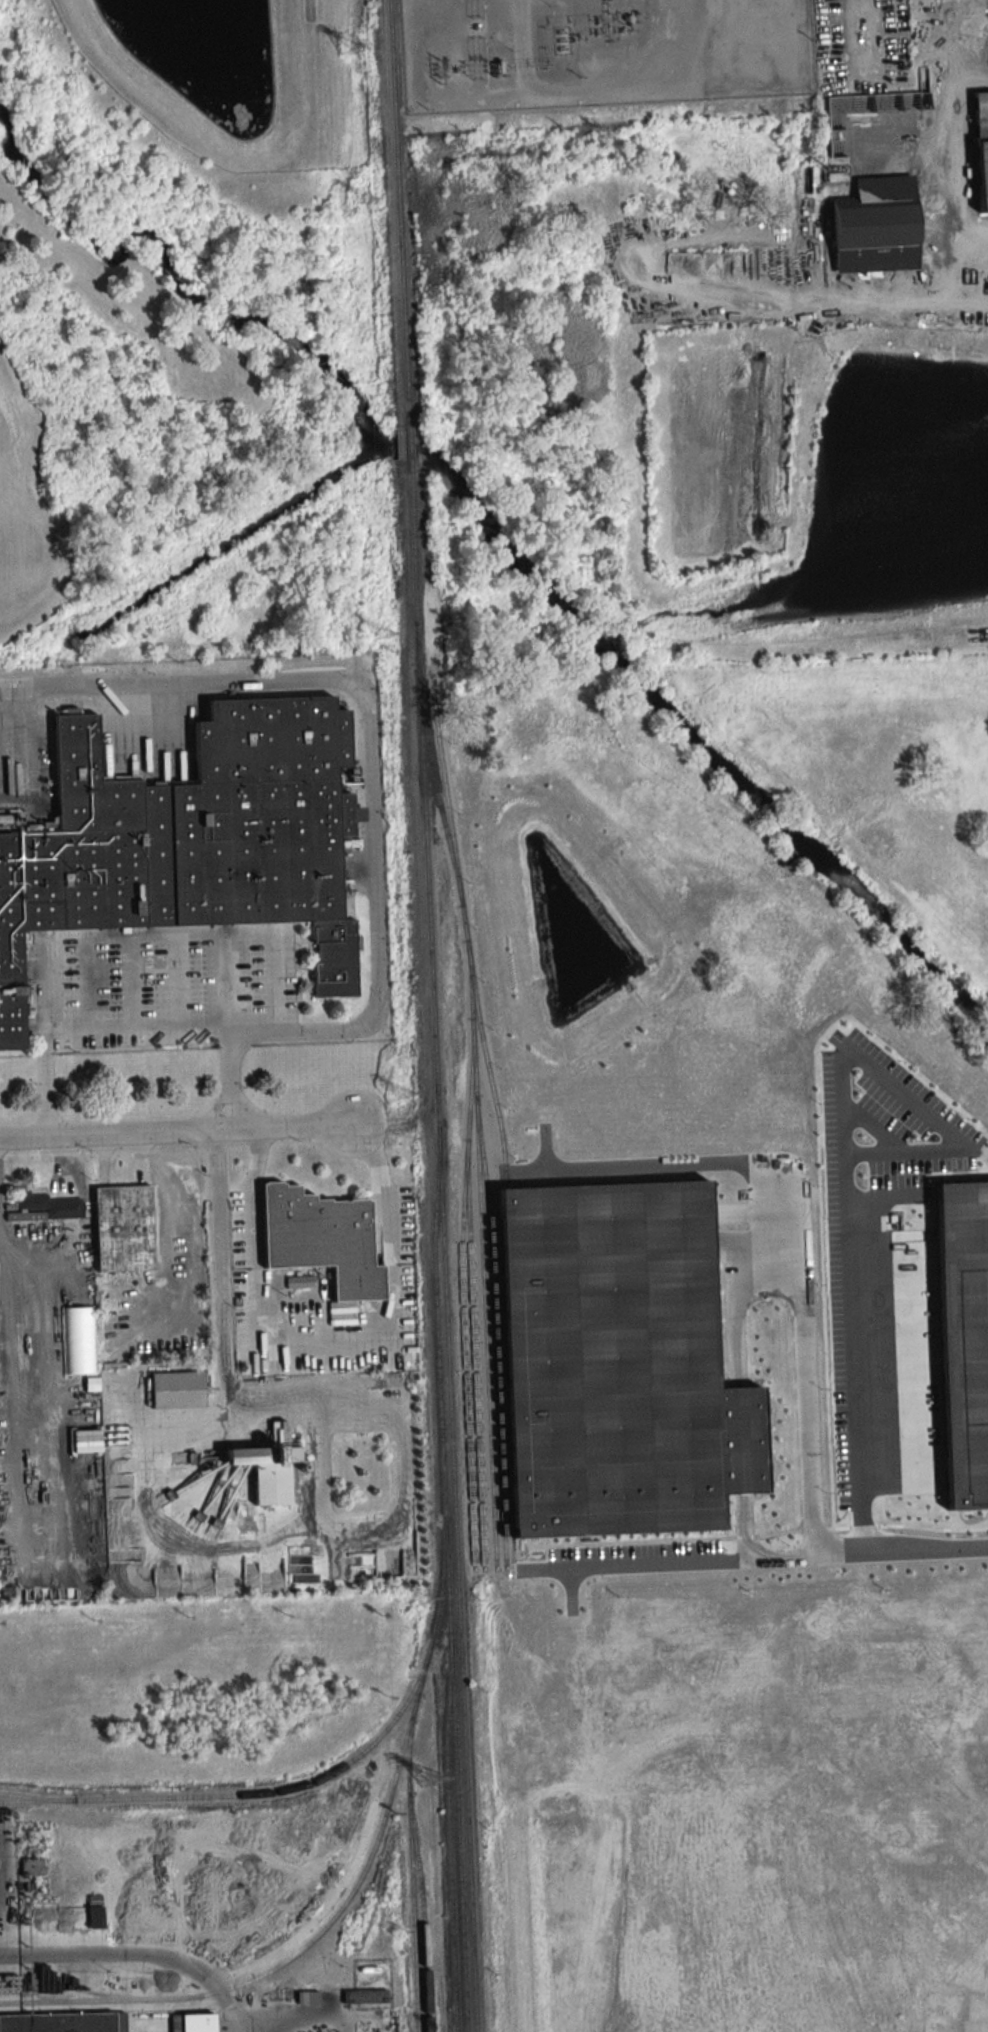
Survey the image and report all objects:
power tower: (348, 46)
power substation: (601, 50)
building: (498, 70)
road: (616, 83)
power tower: (363, 198)
railway: (397, 212)
building: (875, 224)
railway: (406, 442)
power tower: (381, 632)
road: (10, 700)
road: (368, 703)
building: (192, 842)
road: (141, 1027)
power tower: (401, 1093)
railway: (474, 1125)
road: (180, 1131)
building: (50, 1206)
building: (124, 1228)
road: (169, 1237)
building: (322, 1238)
railway: (443, 1245)
road: (327, 1334)
building: (77, 1340)
building: (177, 1389)
road: (856, 1390)
road: (342, 1392)
road: (804, 1422)
road: (195, 1423)
building: (268, 1449)
road: (766, 1558)
power tower: (422, 1595)
railway: (438, 1601)
power tower: (427, 1775)
railway: (456, 1788)
railway: (256, 1791)
railway: (29, 1795)
railway: (449, 1845)
railway: (413, 1905)
building: (95, 1917)
road: (139, 1952)
railway: (278, 1965)
building: (308, 1997)
building: (366, 1999)
building: (193, 2022)
building: (8, 2029)
power tower: (440, 2031)

